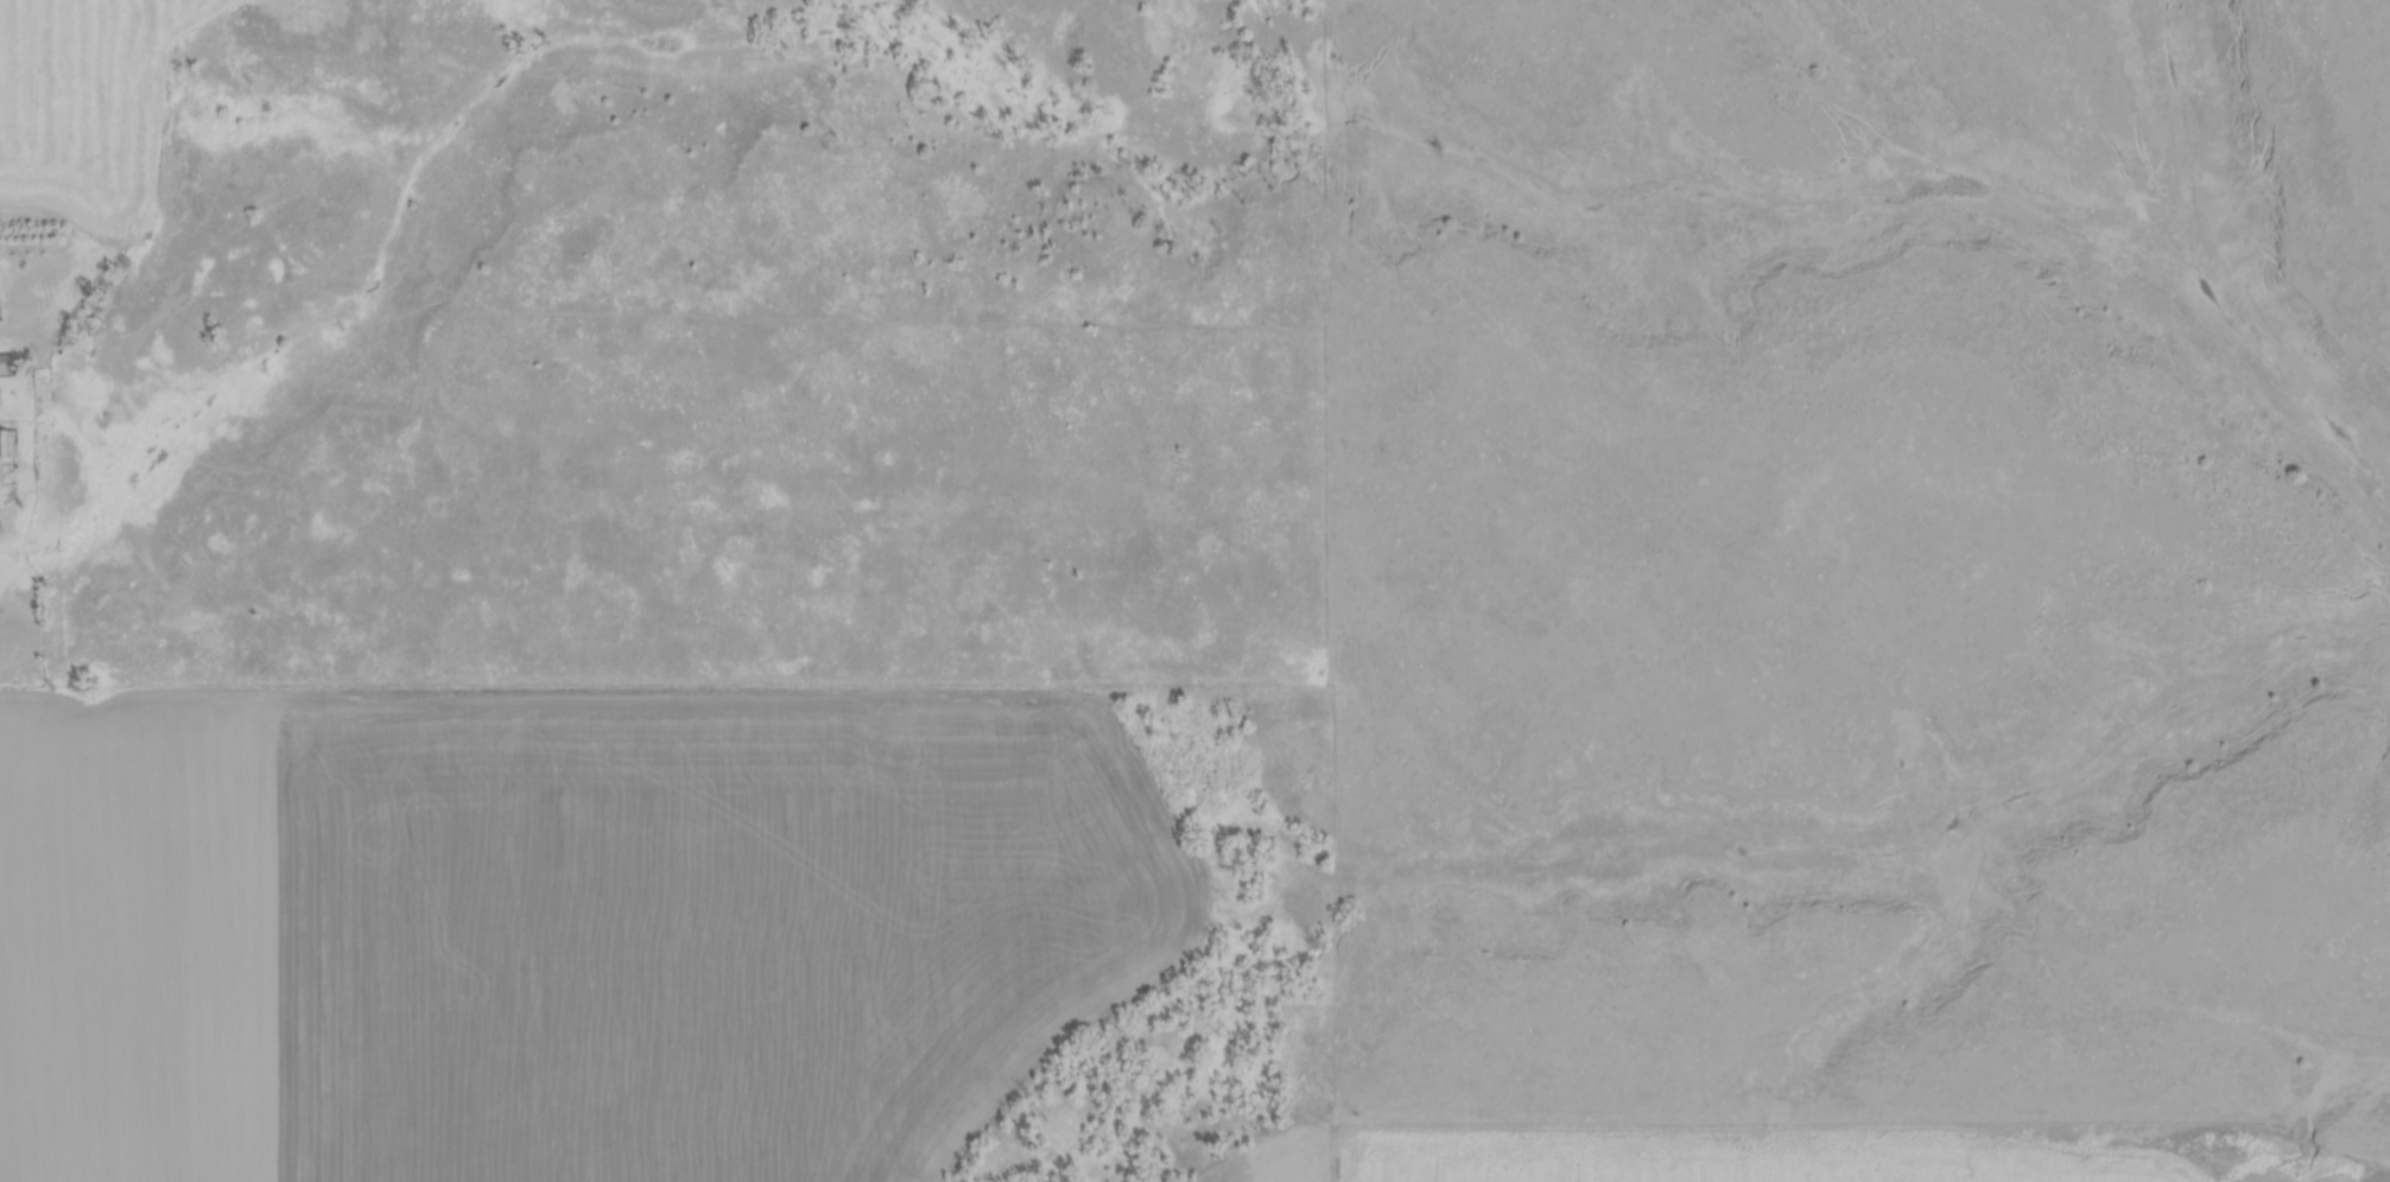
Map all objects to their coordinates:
crop: (81, 106)
building: (1, 361)
building: (11, 441)

